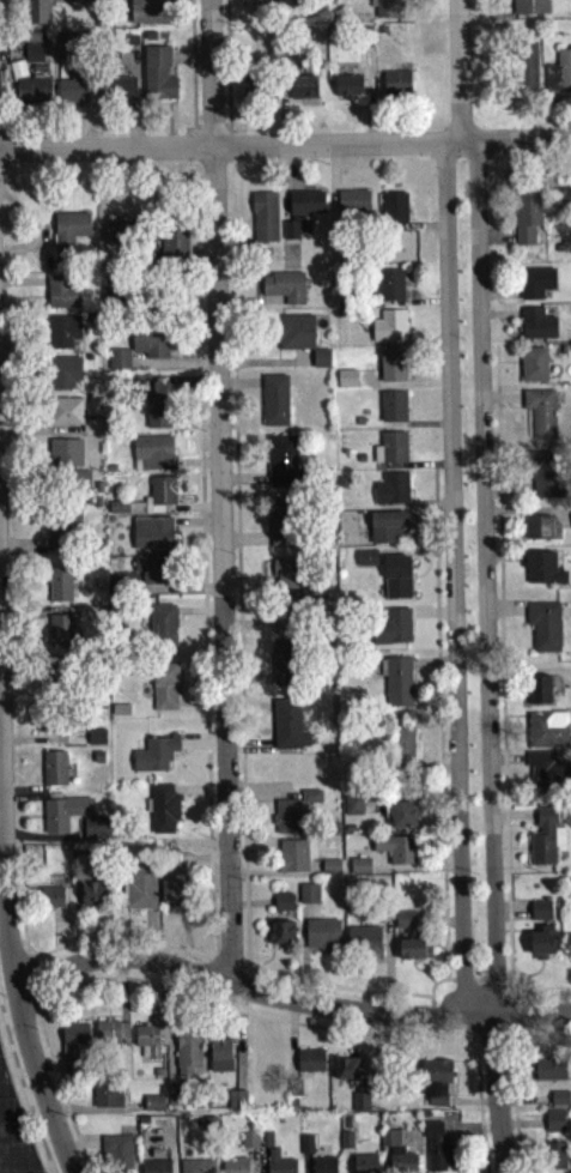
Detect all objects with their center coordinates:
building: (566, 0)
building: (78, 1)
building: (529, 8)
building: (385, 10)
building: (146, 13)
building: (36, 14)
building: (32, 52)
building: (66, 52)
road: (225, 68)
road: (190, 69)
building: (523, 72)
road: (456, 73)
building: (559, 77)
building: (158, 79)
building: (395, 87)
building: (348, 90)
building: (72, 92)
building: (254, 92)
building: (303, 92)
building: (32, 95)
building: (121, 96)
road: (209, 122)
road: (224, 122)
road: (195, 123)
road: (209, 132)
road: (224, 132)
road: (195, 133)
road: (227, 145)
road: (193, 146)
road: (285, 150)
building: (563, 205)
building: (353, 208)
building: (394, 212)
building: (299, 216)
building: (263, 222)
building: (526, 222)
building: (120, 237)
building: (68, 241)
building: (172, 248)
building: (535, 286)
building: (387, 289)
building: (284, 291)
building: (62, 296)
building: (536, 329)
building: (389, 331)
building: (62, 335)
building: (293, 337)
building: (150, 346)
building: (119, 364)
building: (320, 364)
building: (533, 369)
building: (391, 370)
building: (63, 376)
building: (345, 382)
building: (274, 404)
building: (393, 411)
building: (66, 416)
building: (157, 416)
building: (540, 417)
building: (91, 430)
road: (217, 431)
road: (230, 431)
building: (390, 453)
building: (65, 456)
building: (152, 458)
building: (281, 465)
building: (545, 479)
building: (78, 484)
building: (162, 494)
road: (218, 494)
building: (391, 494)
building: (280, 526)
building: (62, 531)
building: (385, 531)
building: (541, 533)
building: (152, 538)
building: (366, 562)
building: (283, 573)
building: (542, 573)
building: (145, 578)
building: (396, 581)
road: (451, 585)
road: (481, 585)
building: (59, 589)
building: (297, 612)
building: (543, 630)
building: (391, 631)
building: (162, 633)
building: (60, 636)
building: (283, 666)
road: (238, 675)
road: (499, 683)
building: (396, 685)
building: (66, 688)
building: (164, 691)
building: (539, 694)
road: (438, 727)
building: (287, 730)
building: (51, 731)
building: (547, 734)
building: (96, 742)
road: (201, 749)
building: (401, 751)
building: (154, 758)
road: (182, 758)
building: (53, 773)
building: (547, 773)
building: (310, 800)
building: (352, 810)
building: (163, 812)
building: (402, 820)
building: (286, 822)
building: (93, 829)
building: (545, 842)
road: (207, 848)
building: (397, 853)
building: (294, 860)
building: (330, 871)
building: (359, 871)
building: (139, 893)
building: (174, 895)
building: (92, 899)
building: (308, 899)
building: (49, 902)
building: (283, 907)
building: (540, 915)
building: (408, 925)
building: (280, 937)
building: (322, 939)
building: (363, 944)
building: (541, 945)
road: (19, 948)
road: (8, 949)
building: (567, 949)
building: (414, 954)
road: (30, 961)
road: (211, 963)
road: (225, 968)
road: (462, 985)
road: (478, 985)
road: (493, 985)
road: (506, 985)
road: (12, 986)
road: (31, 986)
road: (245, 988)
road: (431, 991)
road: (334, 992)
road: (545, 999)
road: (288, 1003)
road: (38, 1010)
road: (233, 1014)
road: (521, 1021)
road: (429, 1024)
building: (111, 1036)
road: (524, 1038)
road: (429, 1040)
building: (73, 1042)
road: (535, 1042)
building: (146, 1046)
road: (478, 1046)
road: (491, 1047)
building: (187, 1057)
building: (219, 1059)
building: (310, 1065)
building: (346, 1074)
building: (549, 1075)
building: (435, 1086)
road: (2, 1095)
road: (23, 1096)
road: (494, 1096)
building: (107, 1100)
building: (559, 1104)
building: (236, 1105)
building: (359, 1106)
building: (153, 1108)
road: (512, 1108)
building: (554, 1125)
parking lot: (13, 1133)
road: (11, 1139)
building: (248, 1144)
building: (346, 1144)
building: (306, 1149)
building: (438, 1153)
building: (396, 1155)
building: (116, 1156)
building: (554, 1160)
building: (278, 1165)
building: (363, 1166)
building: (323, 1167)
building: (156, 1168)
building: (196, 1168)
building: (235, 1168)

